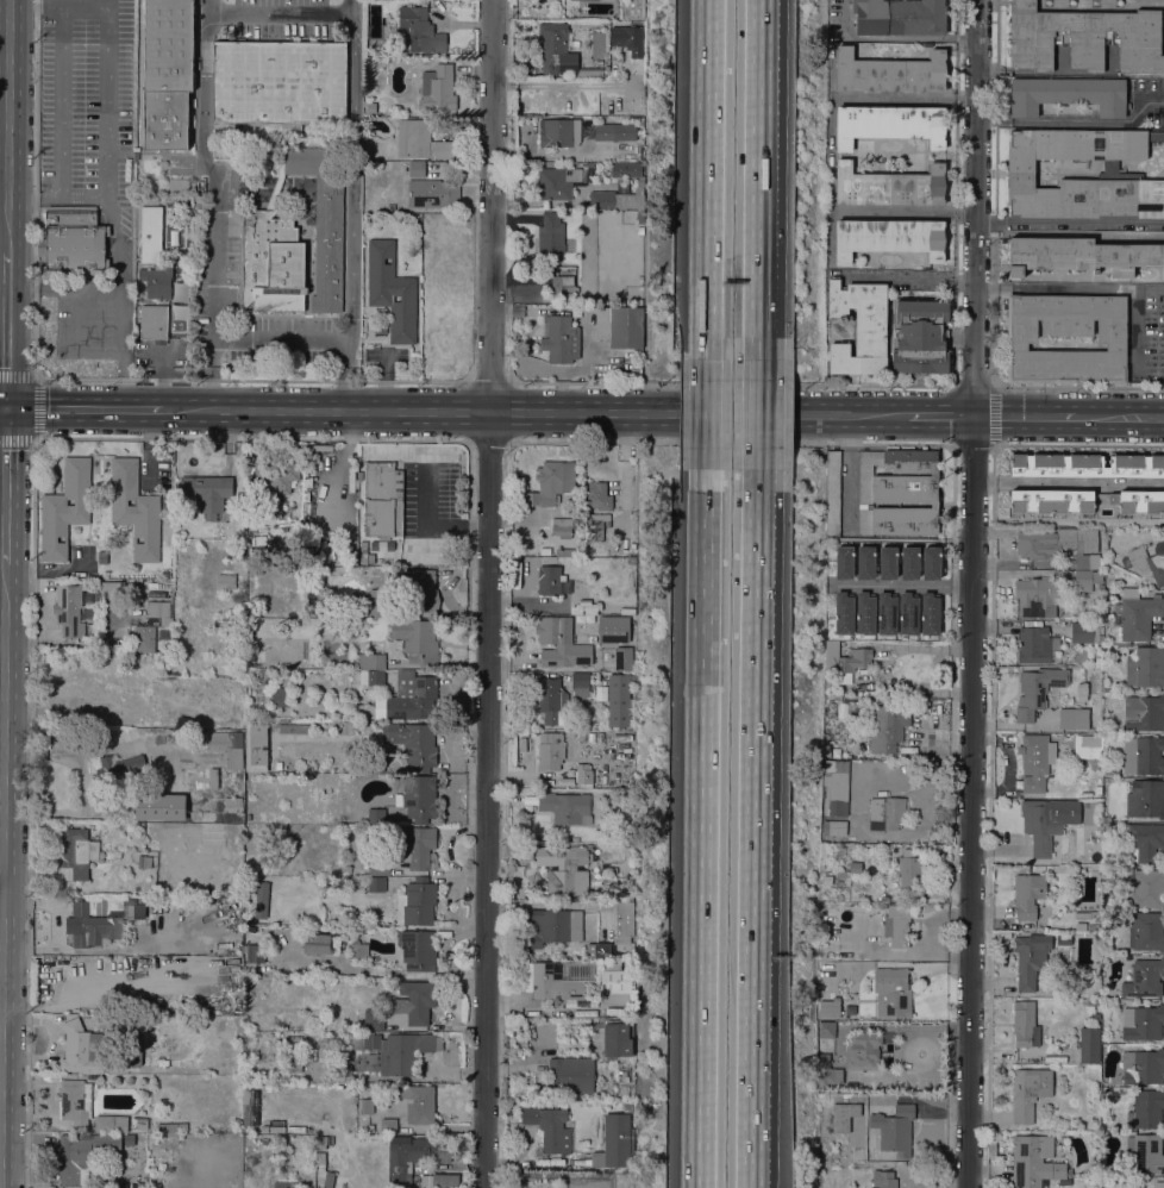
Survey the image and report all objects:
building: (592, 0)
building: (900, 17)
road: (352, 18)
building: (418, 31)
road: (893, 37)
building: (1084, 38)
building: (632, 39)
building: (561, 52)
building: (617, 57)
road: (61, 62)
building: (167, 73)
building: (890, 73)
road: (205, 79)
building: (279, 85)
building: (436, 88)
building: (1068, 94)
building: (370, 107)
road: (104, 123)
building: (889, 125)
road: (8, 126)
building: (581, 132)
building: (420, 139)
building: (1163, 145)
road: (831, 154)
road: (711, 168)
road: (757, 168)
building: (417, 169)
building: (626, 169)
building: (277, 174)
road: (351, 175)
building: (1120, 175)
building: (557, 182)
building: (179, 183)
building: (888, 187)
building: (431, 193)
building: (614, 200)
building: (570, 212)
building: (639, 217)
building: (323, 226)
building: (639, 231)
road: (989, 232)
road: (1079, 232)
building: (150, 233)
building: (550, 237)
building: (888, 238)
building: (73, 243)
road: (118, 246)
building: (1081, 256)
building: (271, 263)
building: (555, 270)
road: (909, 277)
building: (157, 281)
road: (211, 281)
road: (993, 286)
road: (1087, 286)
building: (563, 287)
building: (390, 292)
building: (637, 301)
building: (152, 321)
building: (619, 326)
building: (858, 327)
building: (378, 329)
road: (7, 330)
road: (279, 334)
building: (920, 337)
building: (1020, 339)
building: (561, 340)
road: (343, 361)
road: (252, 381)
road: (489, 383)
road: (731, 384)
road: (972, 387)
road: (1078, 387)
road: (4, 406)
traffic signals: (7, 406)
road: (36, 407)
road: (83, 407)
road: (294, 409)
road: (457, 412)
road: (521, 412)
road: (708, 413)
road: (731, 413)
road: (755, 413)
road: (940, 415)
road: (1021, 417)
road: (1118, 417)
road: (37, 439)
road: (251, 439)
road: (468, 443)
road: (488, 443)
road: (731, 444)
road: (972, 445)
road: (1077, 446)
building: (1085, 465)
building: (275, 475)
building: (551, 482)
road: (1068, 482)
road: (6, 484)
building: (206, 493)
building: (833, 493)
building: (897, 493)
parking lot: (431, 496)
building: (597, 496)
building: (382, 499)
building: (1051, 501)
building: (1138, 501)
building: (70, 502)
building: (131, 502)
road: (469, 504)
building: (64, 508)
building: (134, 508)
road: (426, 526)
building: (561, 526)
building: (594, 527)
road: (2, 539)
building: (61, 539)
building: (139, 539)
building: (1056, 543)
building: (545, 551)
building: (101, 556)
building: (1087, 561)
building: (1147, 562)
building: (844, 563)
building: (865, 563)
building: (888, 563)
building: (909, 563)
building: (930, 563)
building: (549, 580)
building: (1085, 580)
building: (225, 581)
building: (599, 582)
building: (170, 583)
road: (900, 584)
building: (113, 589)
building: (419, 590)
road: (488, 593)
road: (970, 593)
building: (583, 594)
road: (44, 595)
building: (1037, 596)
building: (377, 604)
road: (2, 611)
building: (68, 611)
building: (161, 612)
building: (843, 613)
building: (865, 613)
building: (887, 614)
building: (908, 614)
building: (930, 614)
building: (1137, 614)
building: (613, 629)
building: (1087, 632)
building: (148, 639)
building: (417, 642)
road: (63, 643)
building: (559, 643)
building: (1037, 645)
building: (622, 658)
building: (365, 661)
building: (845, 661)
building: (1145, 667)
building: (359, 676)
building: (375, 677)
building: (580, 684)
building: (1037, 690)
building: (1106, 692)
building: (600, 693)
building: (280, 698)
building: (403, 699)
building: (551, 701)
building: (620, 701)
building: (1144, 713)
building: (1074, 719)
building: (885, 727)
road: (1, 729)
building: (294, 729)
building: (125, 732)
building: (413, 743)
building: (256, 745)
building: (550, 751)
building: (826, 754)
building: (1143, 755)
building: (234, 758)
building: (1035, 761)
building: (377, 764)
building: (277, 767)
building: (120, 768)
building: (1110, 769)
building: (583, 774)
building: (155, 776)
building: (1099, 779)
building: (1097, 789)
building: (836, 793)
building: (418, 798)
building: (1145, 799)
building: (232, 801)
building: (158, 807)
building: (565, 807)
building: (887, 811)
road: (31, 814)
building: (375, 815)
building: (1040, 825)
road: (702, 839)
road: (750, 839)
building: (574, 840)
building: (1144, 842)
building: (255, 845)
building: (415, 846)
building: (75, 854)
building: (144, 862)
building: (365, 864)
building: (855, 867)
building: (378, 868)
building: (562, 869)
building: (910, 871)
building: (840, 874)
building: (826, 880)
building: (376, 884)
building: (628, 884)
building: (1146, 888)
building: (1027, 894)
building: (617, 898)
building: (628, 898)
building: (853, 898)
building: (261, 899)
building: (417, 902)
building: (133, 907)
building: (1081, 913)
building: (95, 920)
building: (622, 923)
building: (555, 926)
building: (896, 927)
building: (1091, 927)
building: (1146, 931)
building: (1064, 939)
building: (315, 942)
building: (881, 945)
building: (418, 950)
building: (353, 951)
building: (599, 951)
building: (255, 953)
building: (625, 956)
building: (1030, 958)
building: (514, 968)
building: (1143, 978)
building: (614, 983)
building: (546, 984)
building: (891, 993)
building: (415, 1001)
building: (1084, 1002)
building: (1096, 1002)
building: (830, 1008)
building: (1095, 1017)
building: (374, 1019)
building: (1143, 1023)
building: (1025, 1025)
building: (826, 1030)
building: (617, 1038)
building: (1089, 1045)
building: (81, 1048)
building: (863, 1048)
building: (133, 1050)
building: (292, 1052)
building: (390, 1052)
building: (824, 1062)
building: (1141, 1067)
building: (870, 1069)
building: (570, 1075)
building: (620, 1077)
building: (1028, 1092)
building: (74, 1102)
building: (418, 1103)
building: (246, 1106)
building: (367, 1106)
building: (1146, 1109)
building: (821, 1112)
building: (843, 1115)
building: (111, 1124)
building: (140, 1124)
building: (388, 1126)
building: (165, 1127)
building: (550, 1128)
building: (824, 1128)
building: (894, 1130)
building: (615, 1140)
building: (263, 1142)
building: (323, 1142)
building: (1145, 1153)
building: (81, 1156)
building: (413, 1156)
building: (320, 1158)
building: (1034, 1162)
building: (877, 1164)
building: (325, 1177)
building: (883, 1180)
building: (442, 1181)
building: (279, 1184)
building: (294, 1184)
park: (587, 1184)
building: (1159, 1184)
building: (145, 1186)

